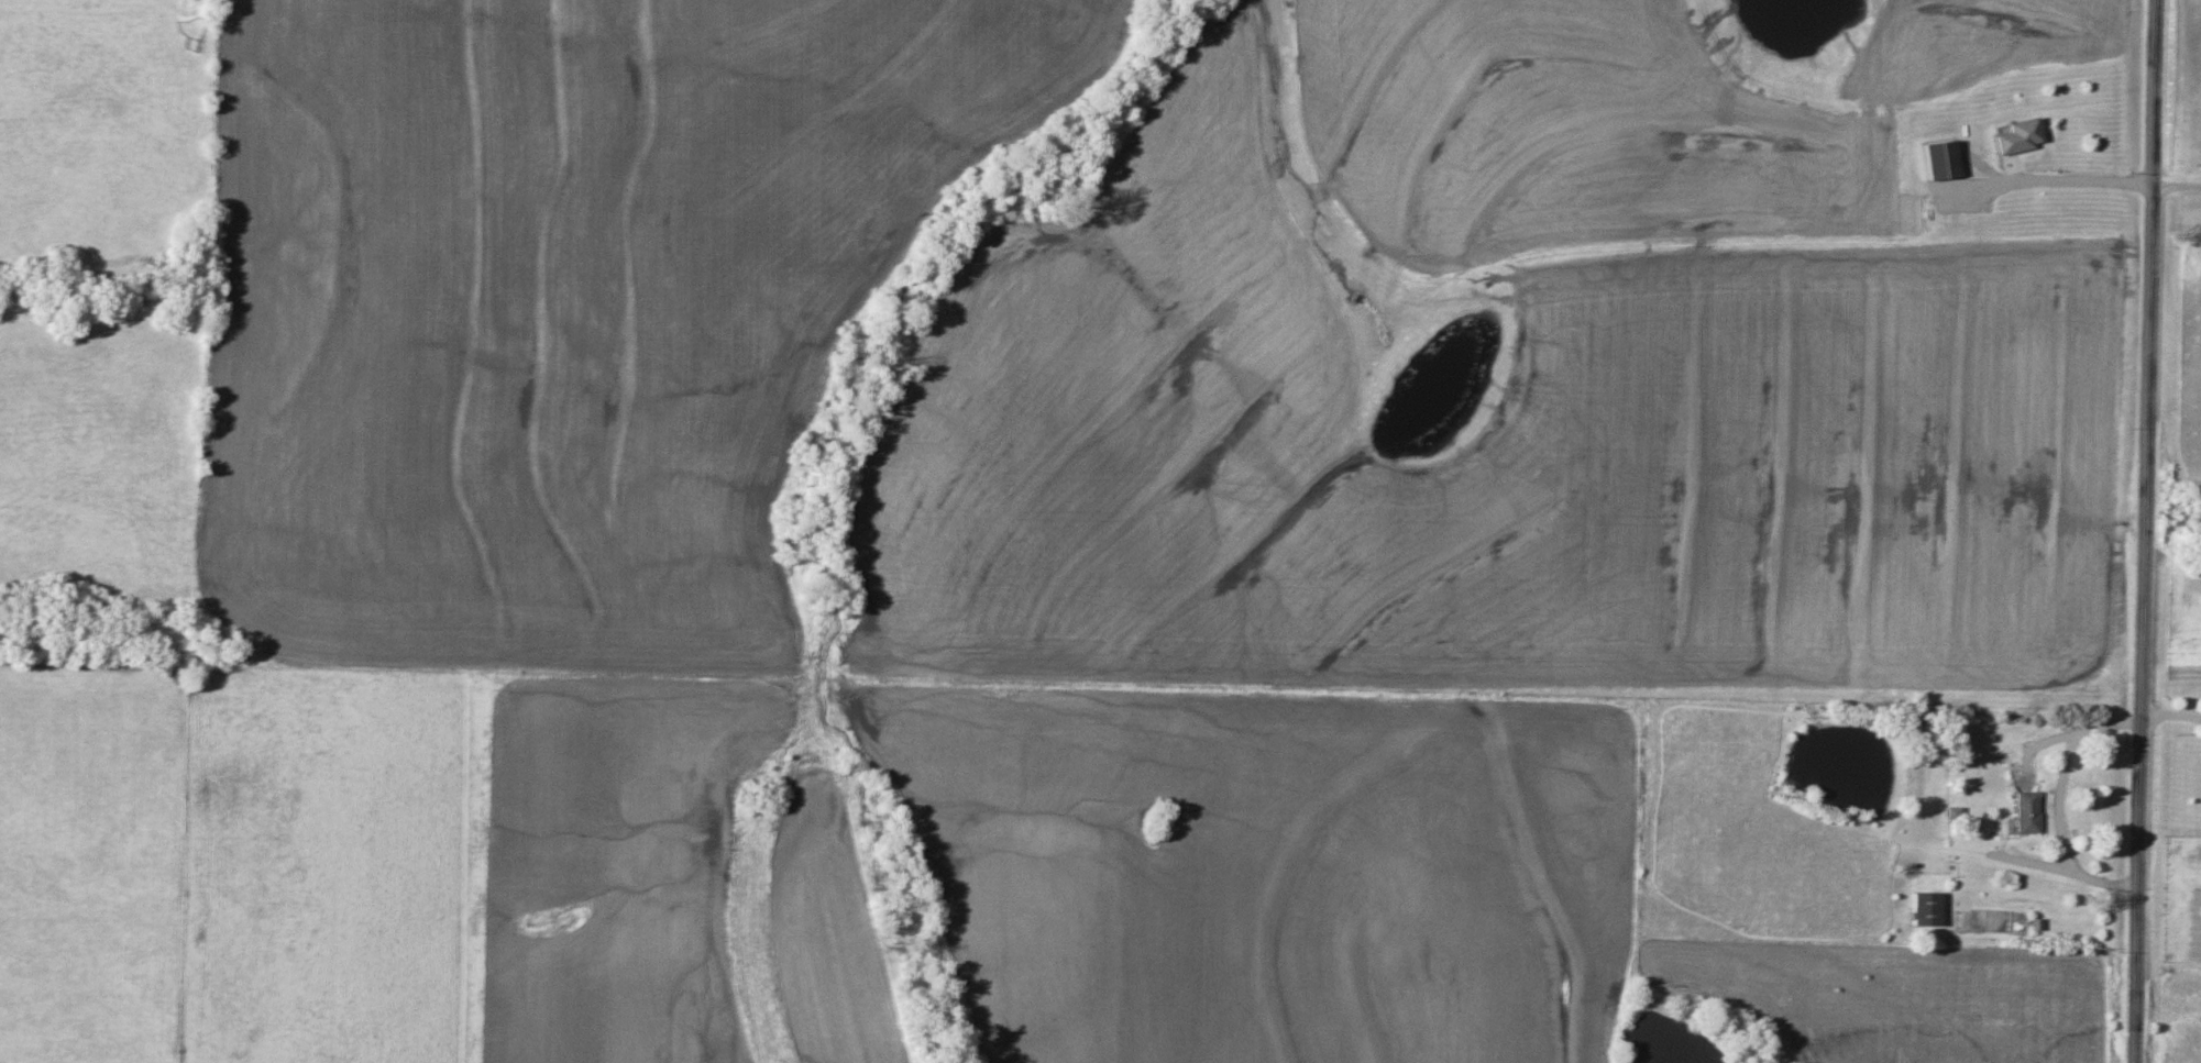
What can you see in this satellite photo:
building: (2017, 136)
building: (1939, 159)
road: (2071, 184)
road: (2177, 186)
road: (2145, 531)
road: (1444, 694)
road: (2170, 712)
road: (2062, 806)
building: (2026, 812)
building: (1925, 909)

